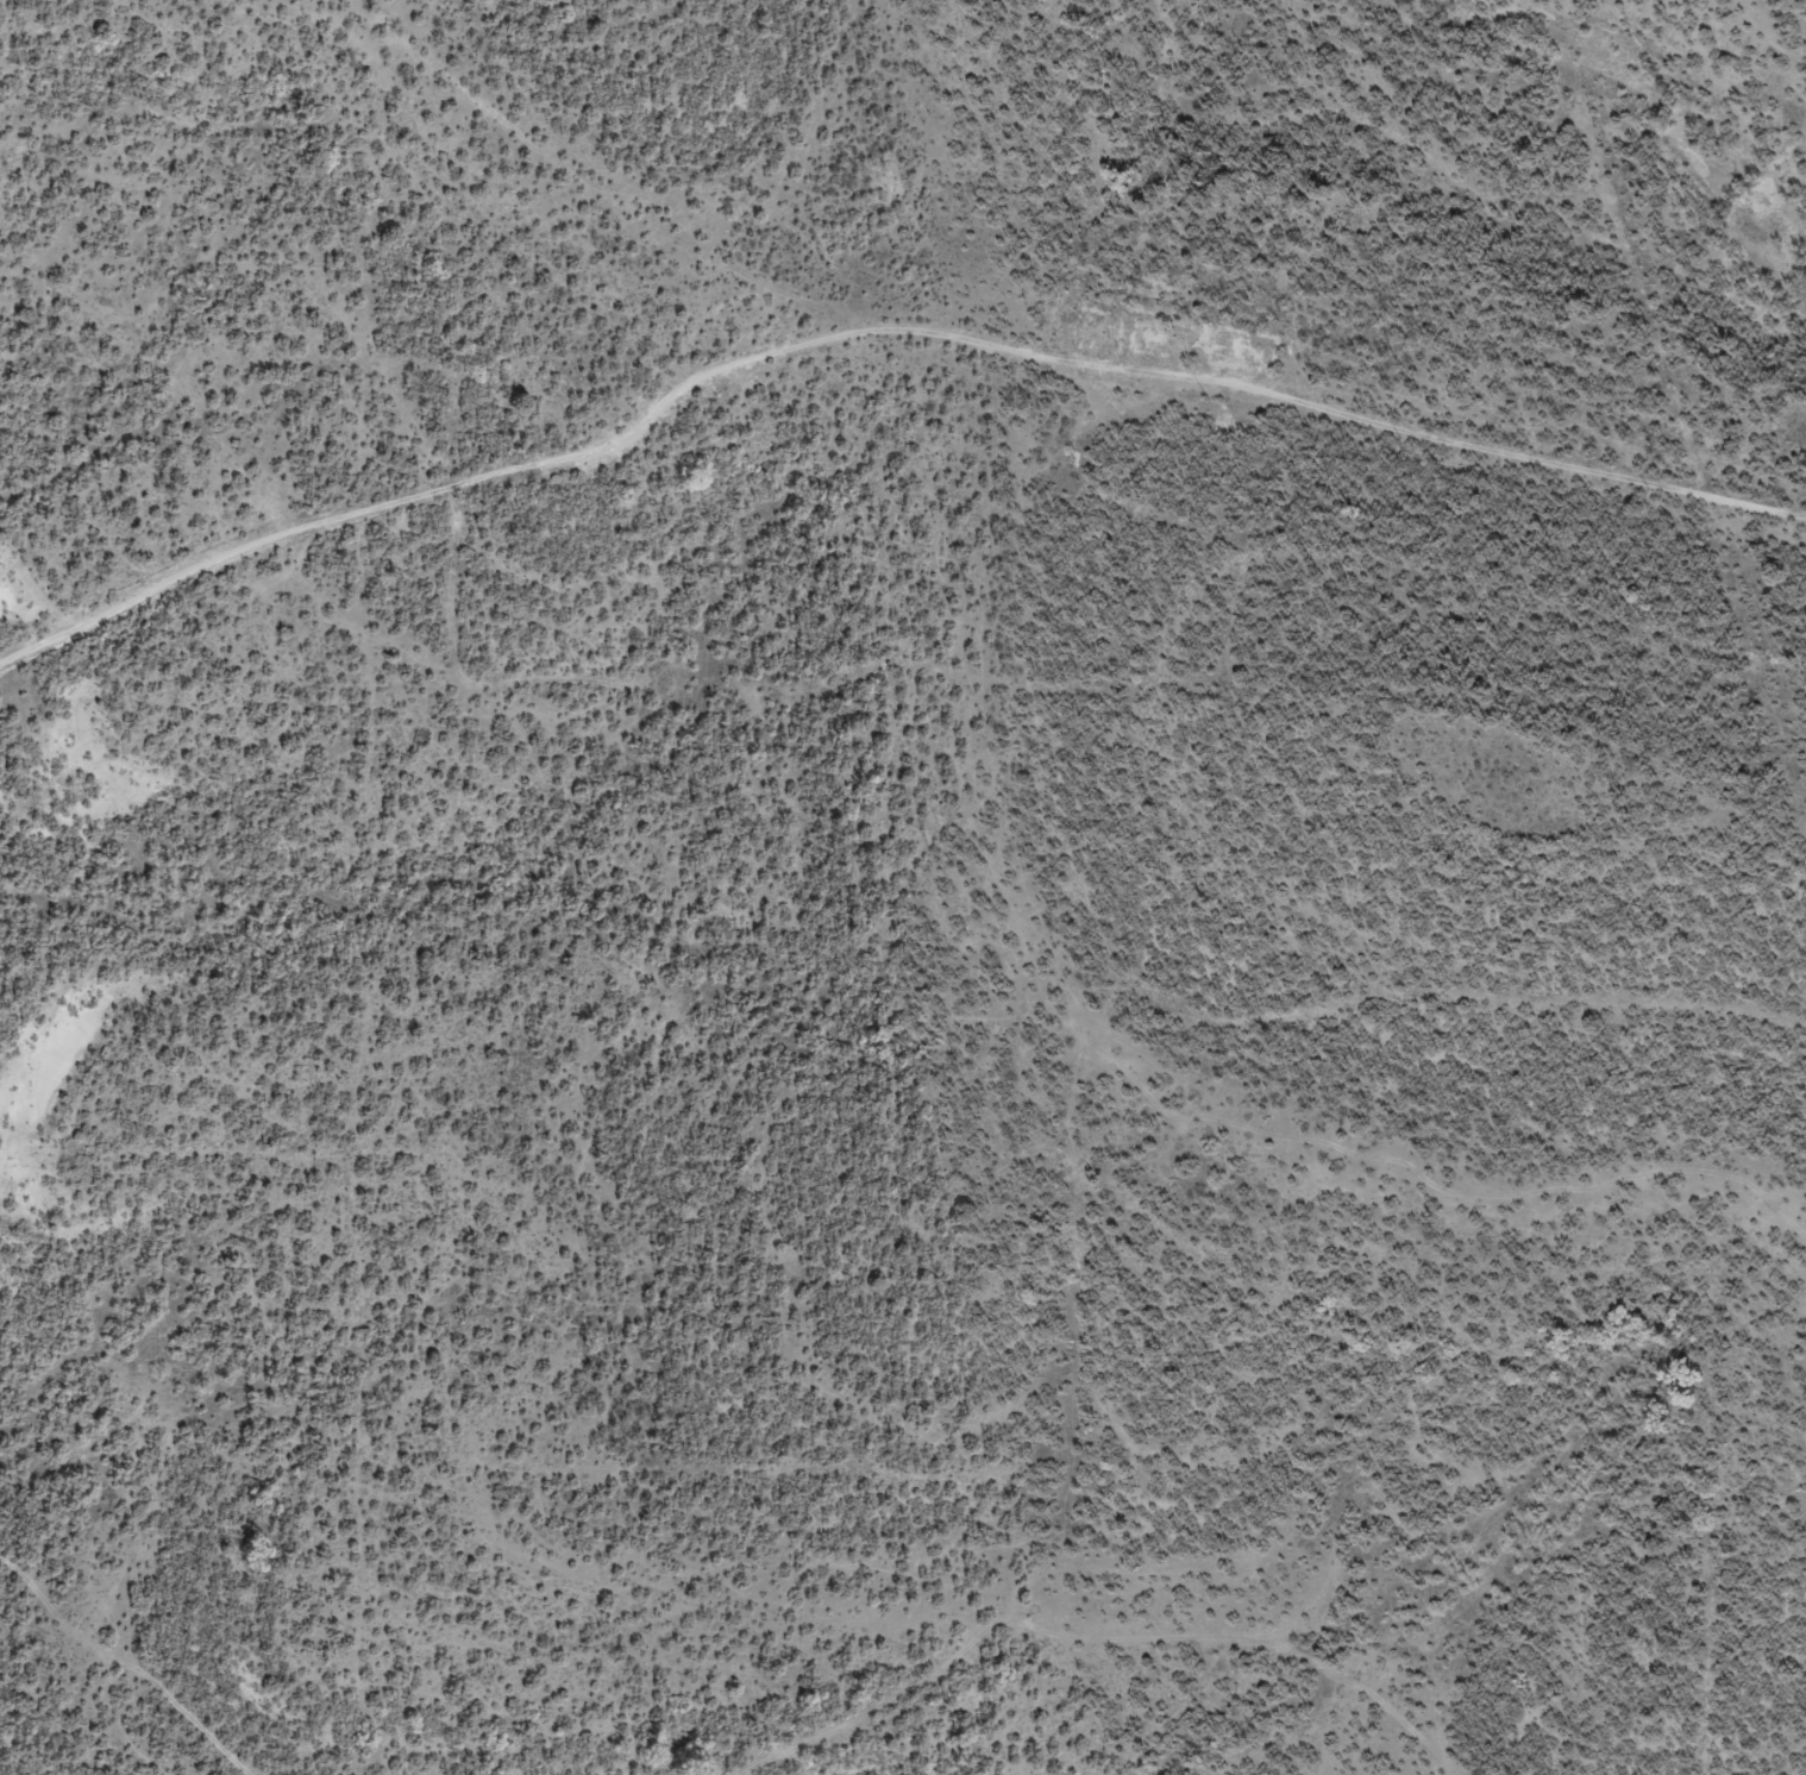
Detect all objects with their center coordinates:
road: (878, 331)

